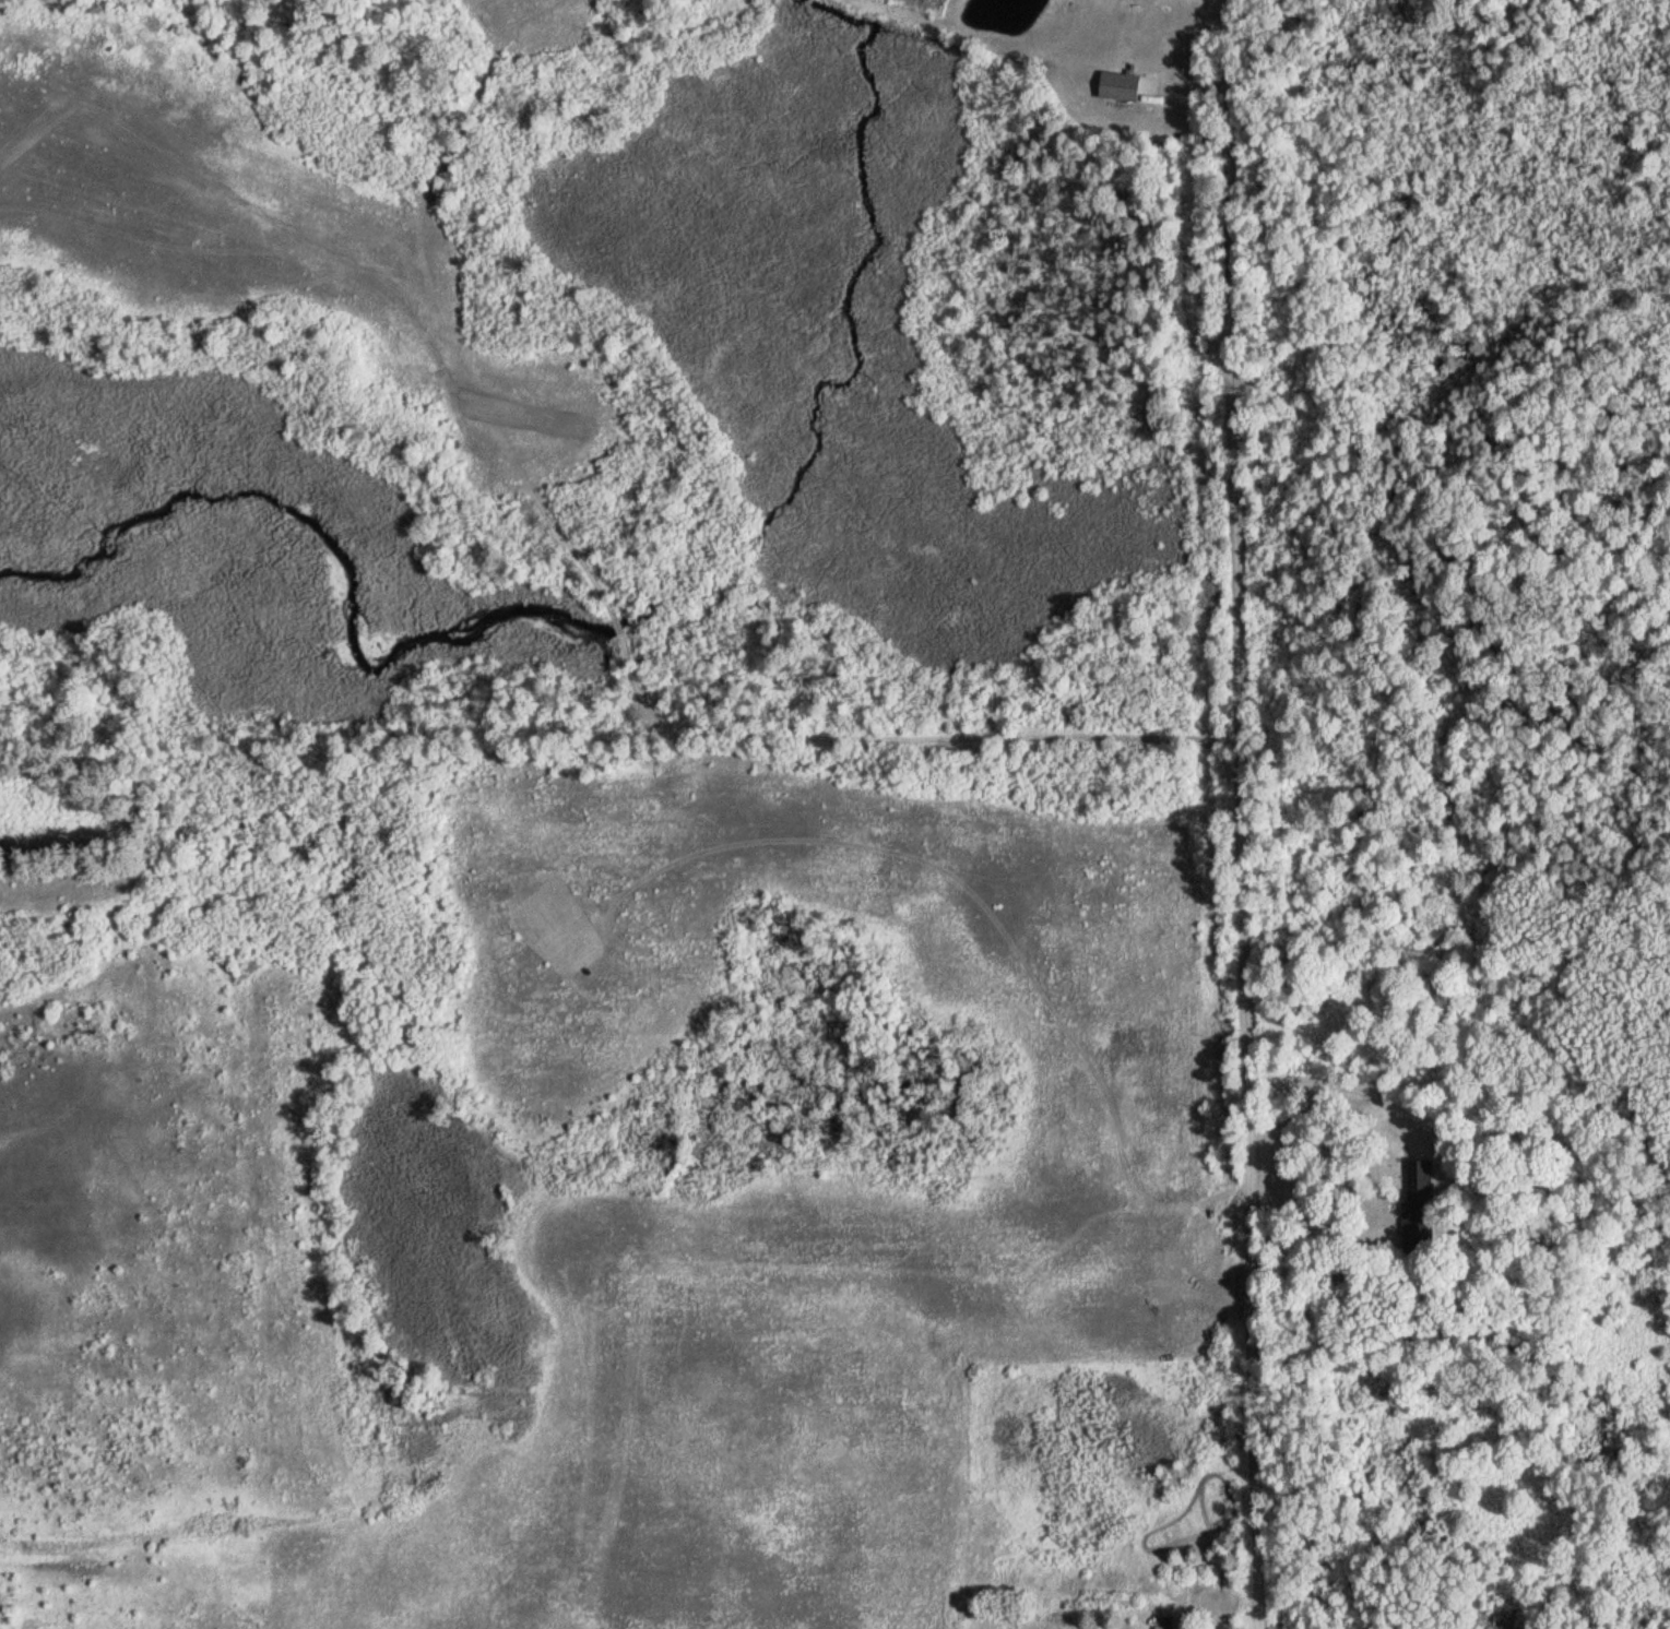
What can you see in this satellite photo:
building: (1115, 85)
road: (1243, 813)
road: (1342, 1080)
building: (1162, 1622)

